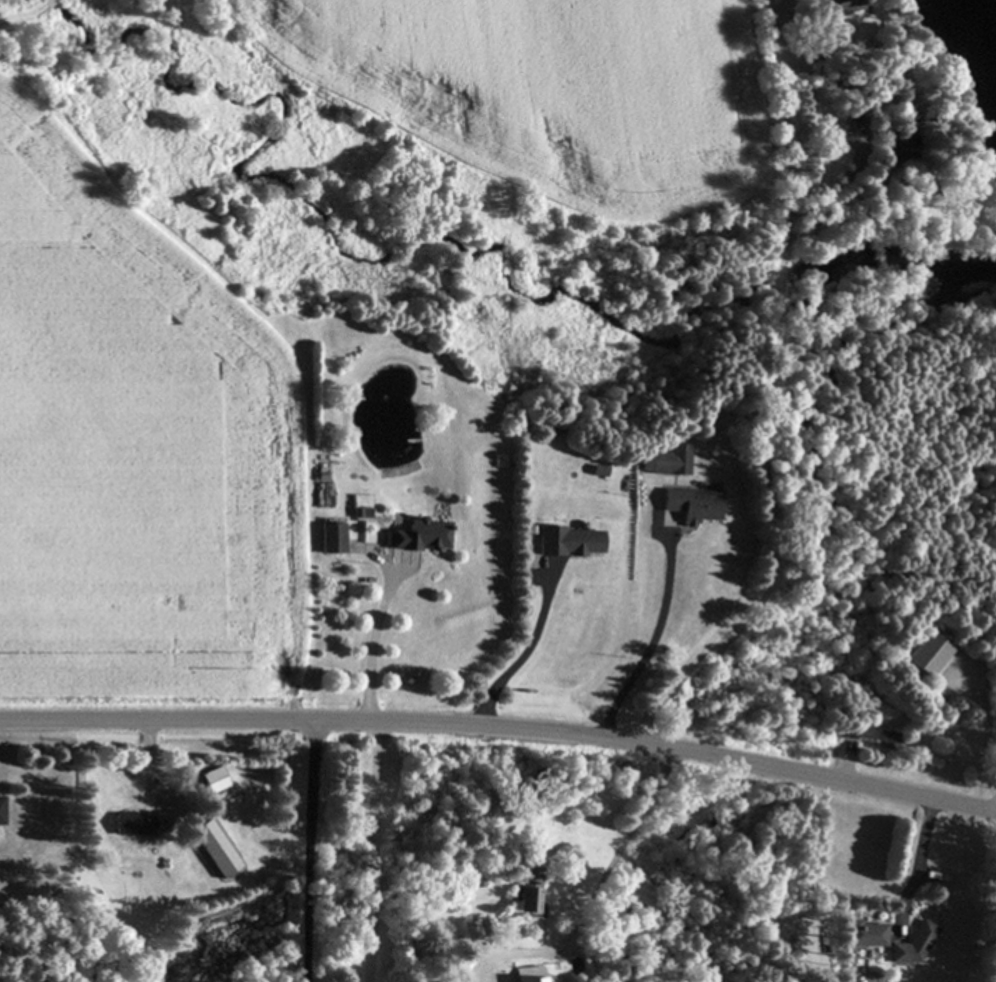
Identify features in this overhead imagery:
building: (846, 6)
river: (973, 42)
building: (899, 150)
road: (768, 394)
building: (663, 461)
building: (688, 505)
building: (358, 513)
building: (416, 536)
building: (329, 538)
building: (566, 542)
road: (652, 644)
building: (927, 652)
road: (526, 656)
road: (501, 725)
building: (876, 736)
road: (984, 739)
road: (847, 765)
road: (375, 774)
building: (211, 781)
building: (0, 812)
building: (131, 825)
building: (211, 849)
road: (312, 850)
road: (919, 863)
road: (595, 893)
building: (527, 896)
building: (476, 929)
building: (863, 935)
building: (912, 946)
building: (526, 975)

